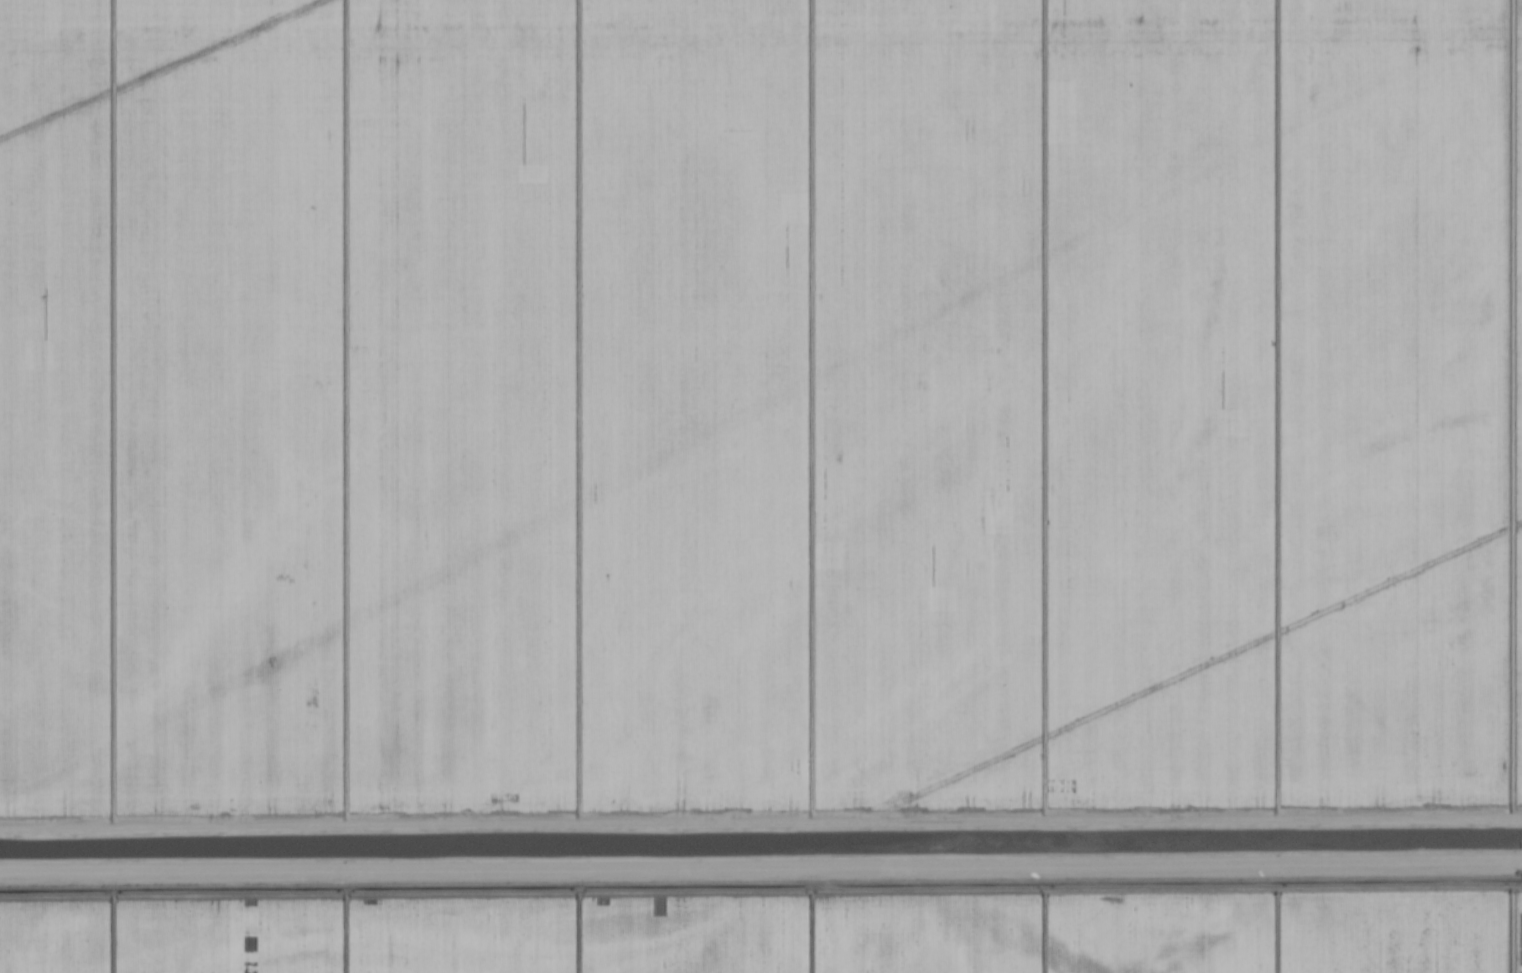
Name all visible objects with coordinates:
road: (760, 822)
road: (761, 868)

